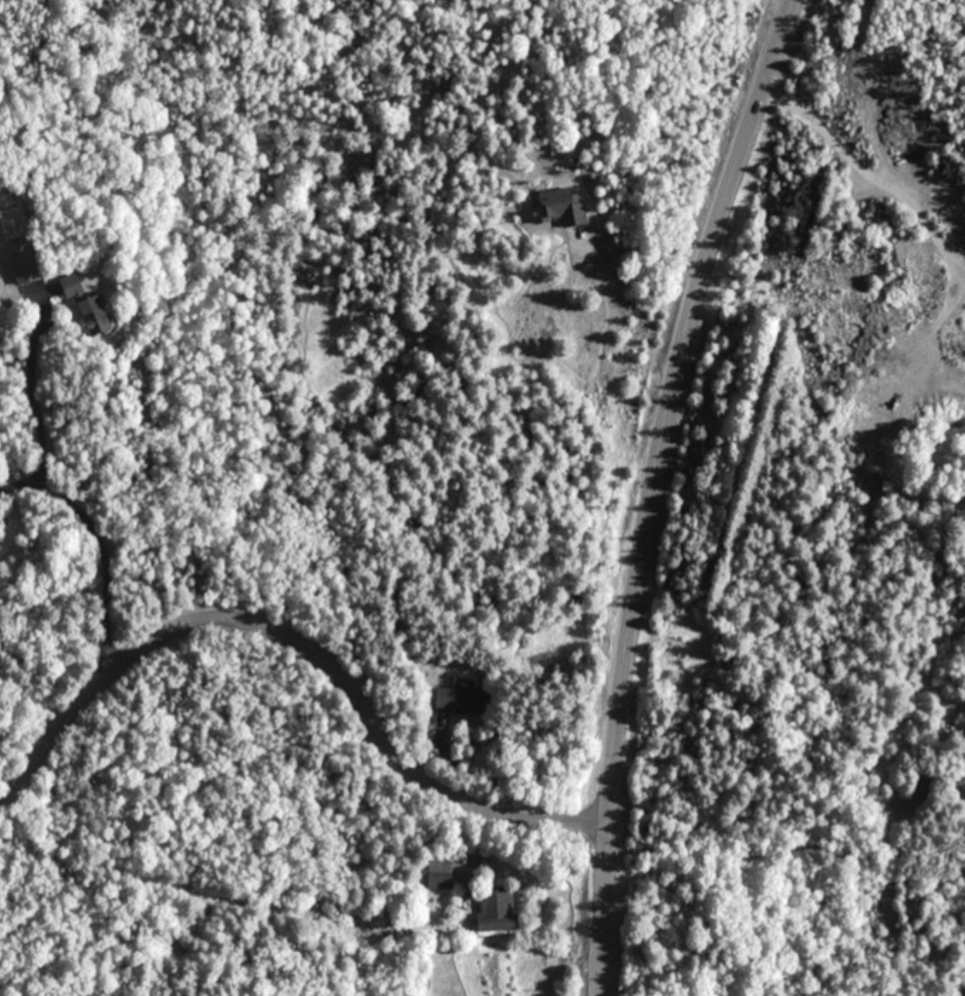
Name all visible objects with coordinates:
road: (868, 174)
building: (558, 206)
road: (650, 251)
building: (23, 263)
building: (70, 285)
building: (91, 314)
road: (36, 394)
road: (652, 489)
road: (106, 535)
road: (298, 646)
building: (460, 699)
building: (920, 785)
road: (478, 845)
road: (784, 851)
building: (439, 873)
building: (495, 909)

